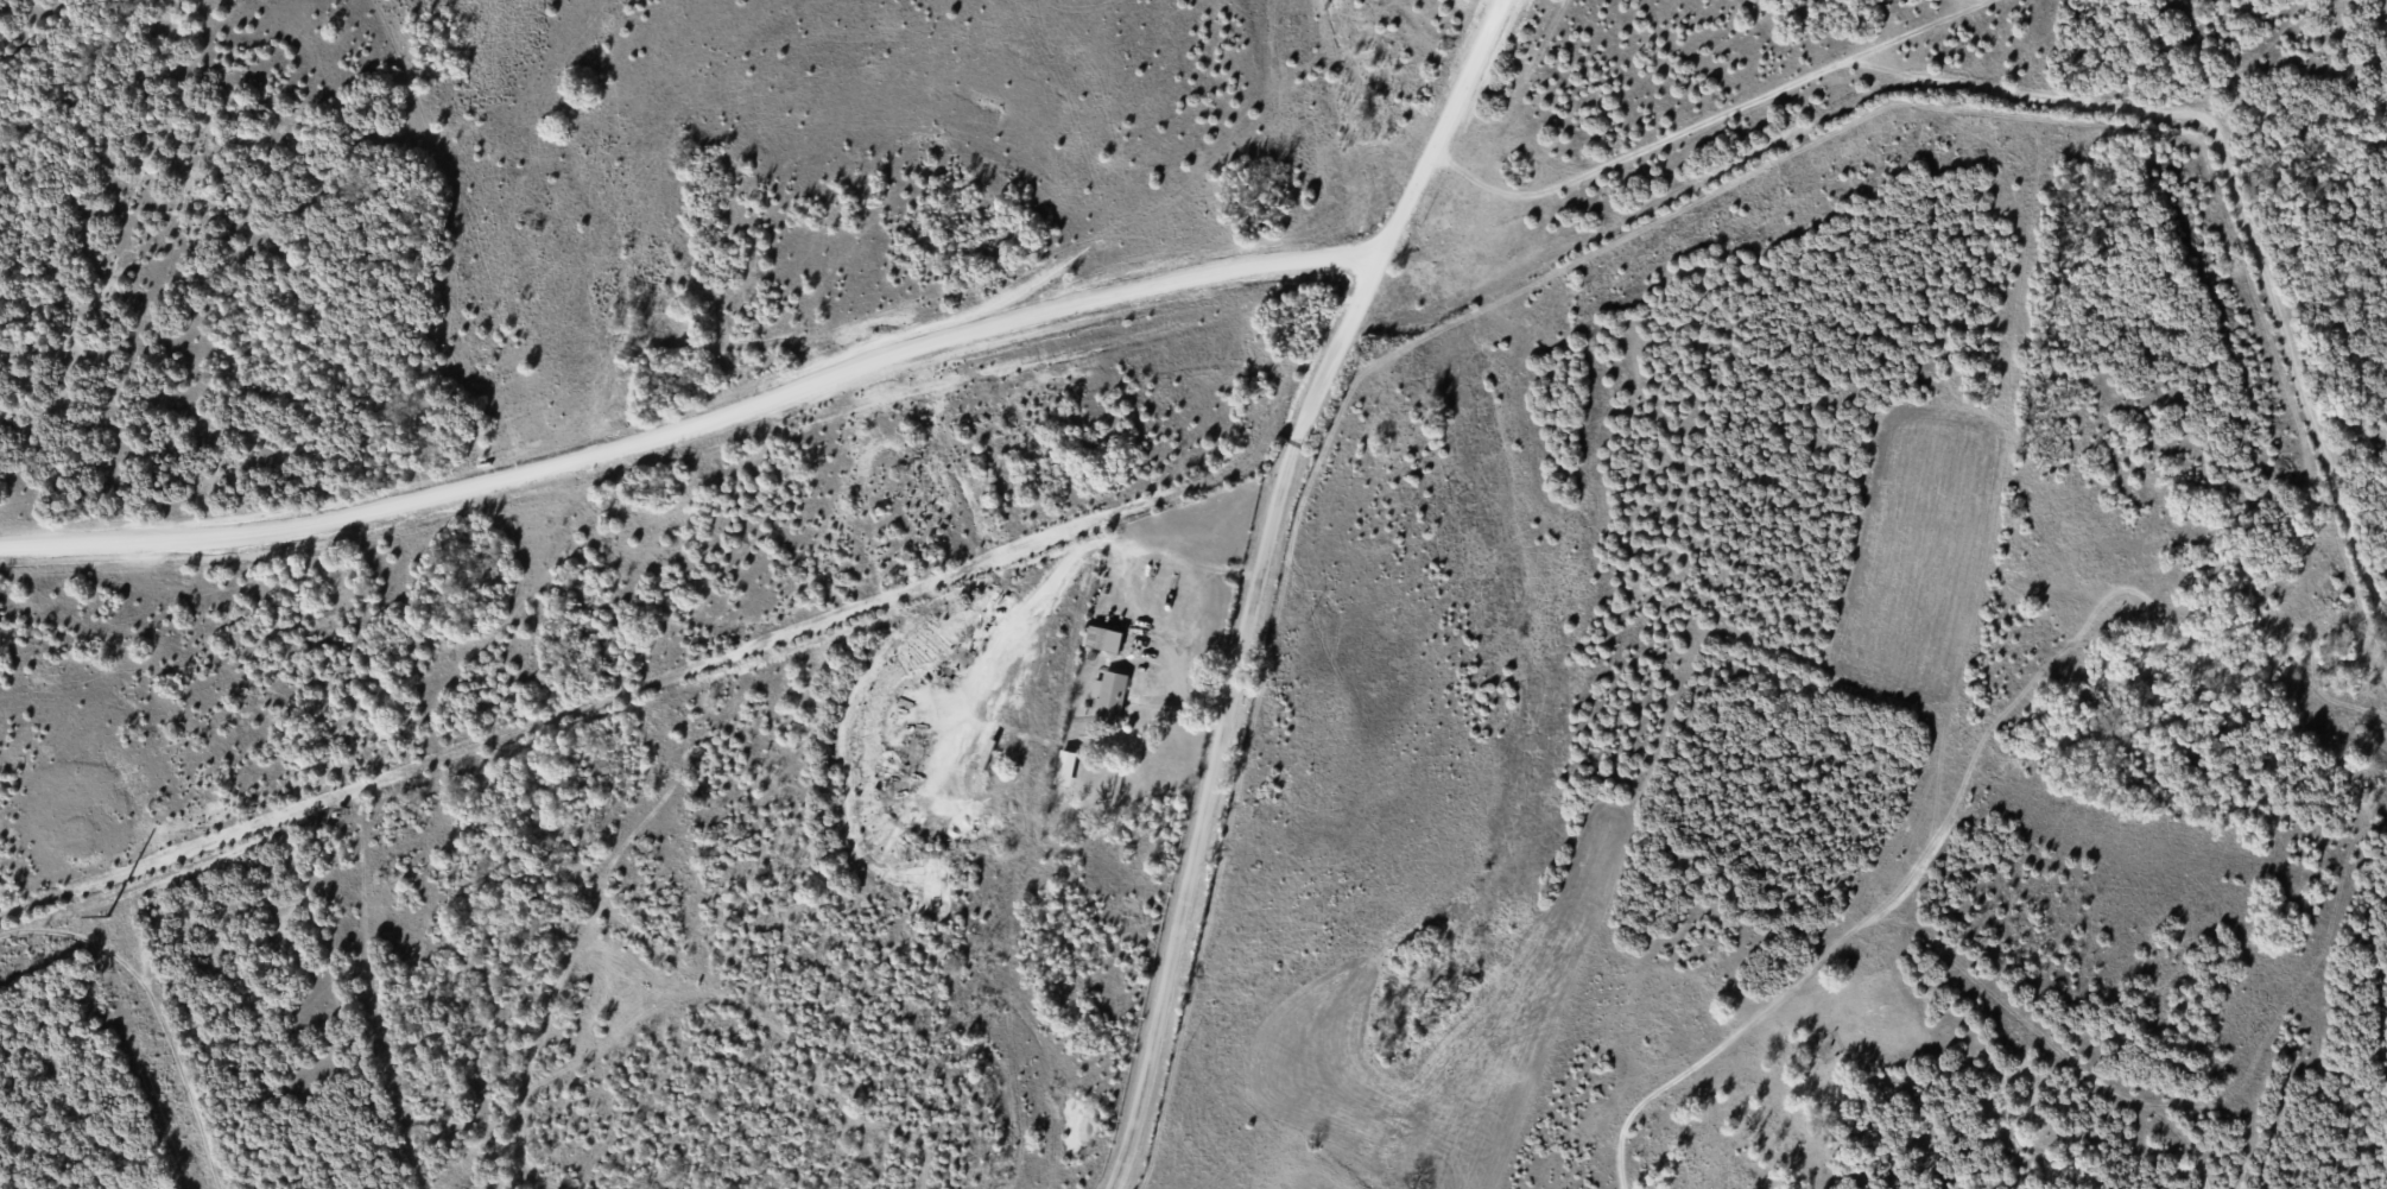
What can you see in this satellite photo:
road: (1395, 221)
road: (695, 424)
building: (1104, 638)
building: (1109, 696)
building: (1066, 767)
road: (1201, 816)
power tower: (106, 916)

